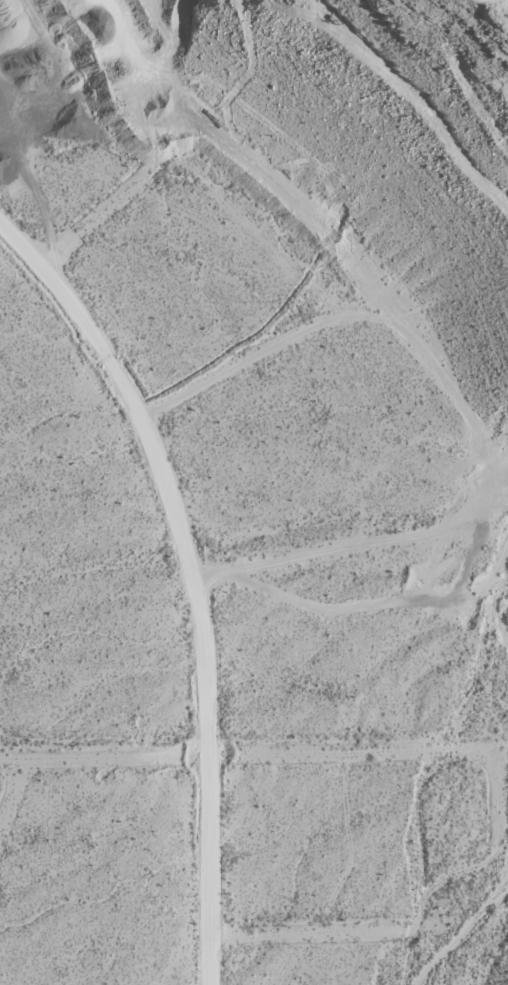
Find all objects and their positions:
quarry: (58, 19)
road: (118, 188)
road: (240, 356)
road: (431, 370)
road: (0, 547)
road: (192, 577)
road: (254, 750)
road: (12, 788)
road: (309, 932)

